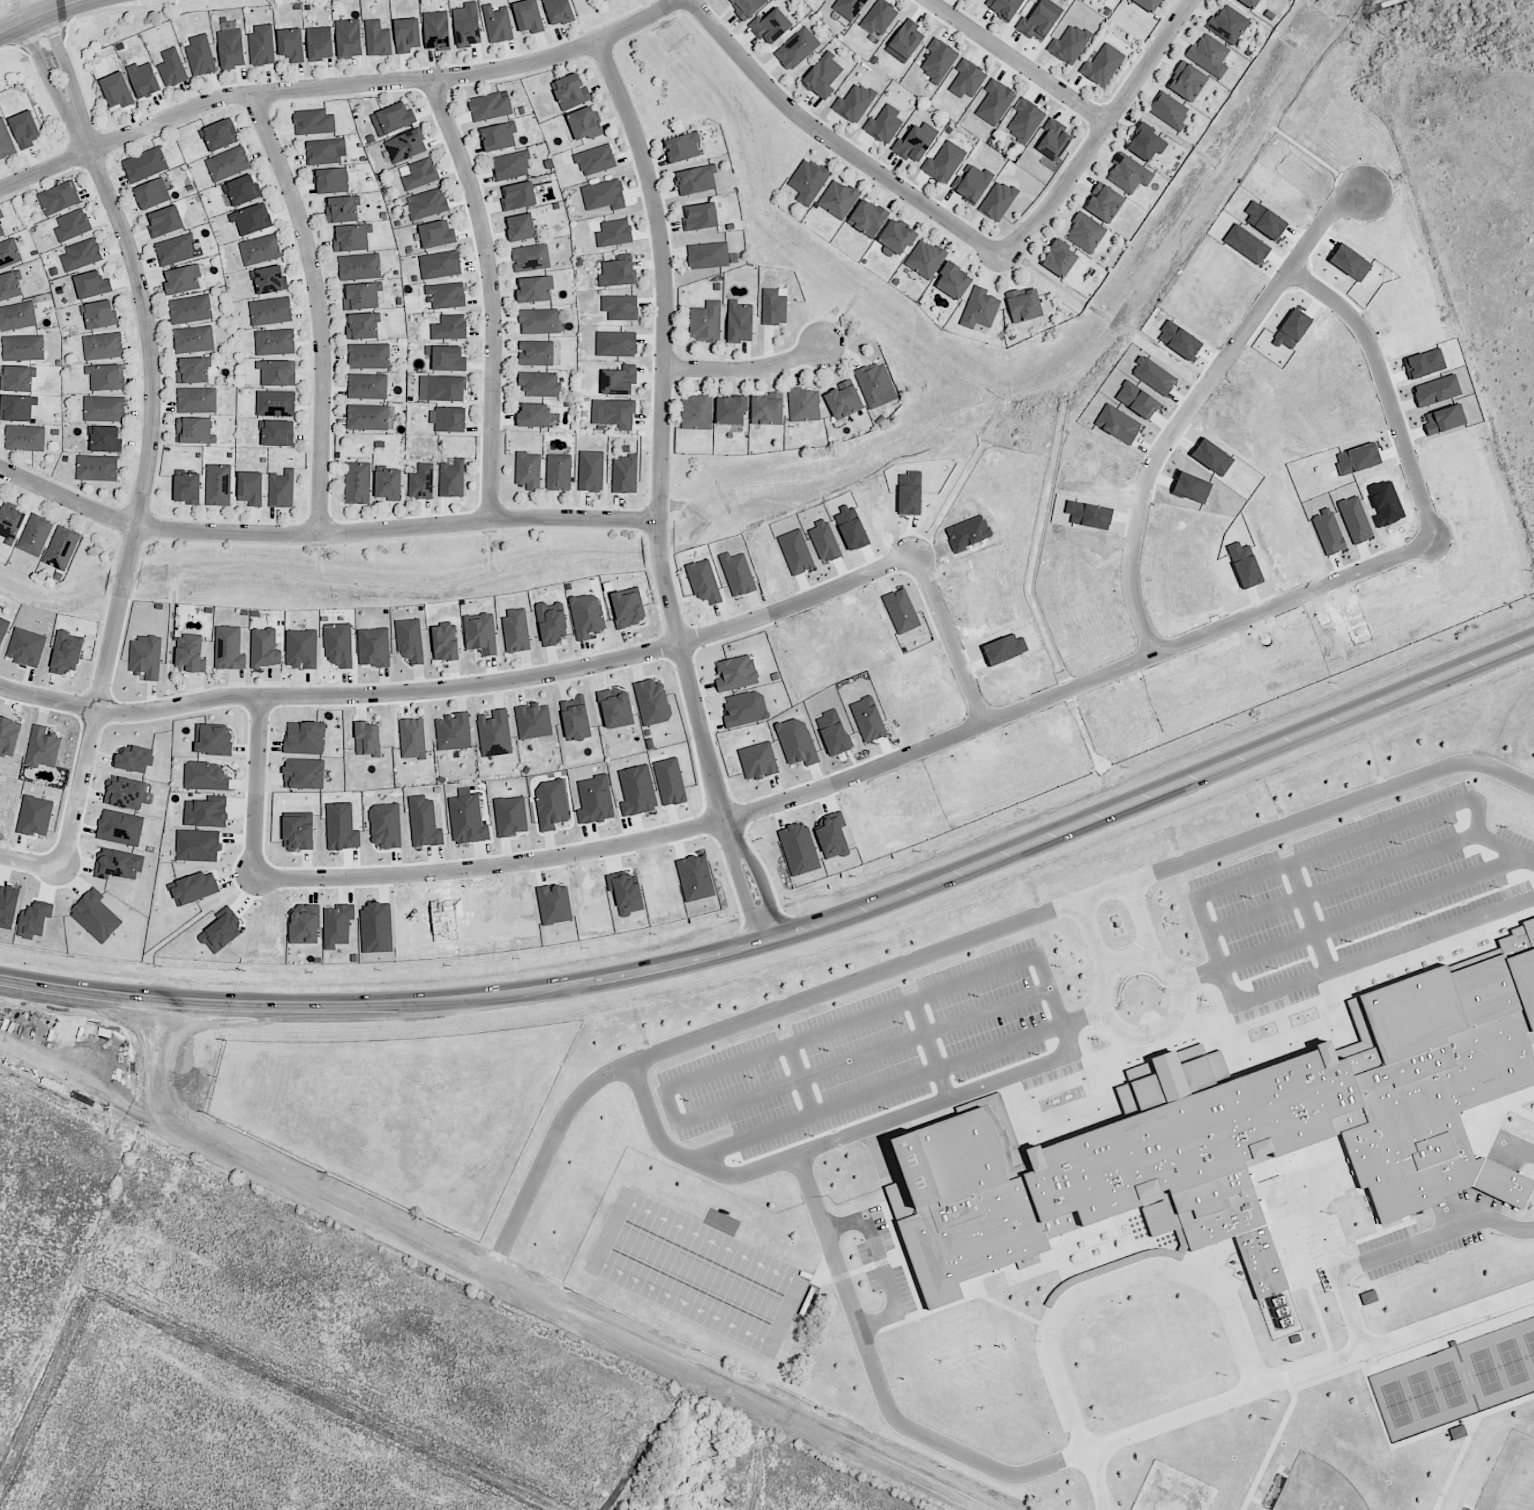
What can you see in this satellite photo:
building: (1250, 3)
building: (1150, 5)
road: (40, 7)
building: (749, 7)
building: (1005, 7)
road: (143, 8)
building: (849, 8)
road: (19, 11)
building: (560, 11)
road: (40, 15)
building: (530, 15)
building: (880, 17)
building: (1038, 23)
building: (498, 25)
building: (772, 26)
building: (1230, 26)
building: (437, 31)
building: (469, 32)
building: (408, 36)
building: (908, 39)
building: (350, 40)
building: (379, 40)
building: (321, 43)
road: (30, 44)
building: (1070, 44)
building: (263, 46)
building: (294, 46)
building: (798, 49)
building: (233, 50)
building: (202, 56)
building: (1211, 56)
building: (939, 61)
road: (1017, 62)
building: (1103, 66)
building: (173, 67)
road: (69, 72)
building: (823, 76)
building: (144, 79)
building: (968, 79)
road: (50, 81)
building: (1190, 82)
road: (337, 88)
building: (117, 90)
building: (572, 92)
building: (995, 103)
building: (855, 104)
building: (491, 106)
building: (1170, 111)
building: (399, 117)
building: (1026, 121)
building: (316, 122)
building: (586, 124)
building: (885, 125)
building: (26, 130)
road: (1103, 132)
building: (222, 134)
building: (500, 138)
building: (1056, 140)
road: (833, 141)
building: (6, 142)
building: (1147, 142)
building: (914, 144)
building: (409, 148)
building: (686, 149)
building: (326, 152)
building: (597, 160)
building: (945, 162)
building: (230, 164)
building: (146, 165)
building: (510, 166)
building: (1130, 174)
building: (423, 175)
building: (335, 181)
building: (695, 181)
building: (809, 182)
building: (974, 184)
building: (245, 191)
building: (156, 196)
building: (519, 196)
building: (604, 196)
building: (62, 200)
building: (840, 200)
building: (999, 201)
building: (430, 205)
building: (1109, 206)
building: (345, 210)
building: (1, 216)
building: (702, 217)
building: (870, 218)
building: (255, 220)
building: (166, 222)
building: (72, 226)
building: (523, 229)
building: (3, 230)
building: (614, 234)
building: (1088, 234)
building: (439, 236)
building: (901, 238)
building: (355, 239)
building: (175, 250)
building: (261, 250)
building: (10, 253)
building: (83, 256)
building: (709, 256)
building: (532, 258)
building: (927, 259)
building: (1063, 259)
building: (443, 266)
building: (361, 268)
building: (619, 274)
building: (185, 281)
building: (274, 281)
building: (956, 284)
building: (95, 286)
building: (12, 288)
building: (537, 291)
road: (493, 296)
building: (448, 297)
building: (365, 298)
building: (1027, 306)
building: (620, 308)
building: (774, 308)
building: (981, 309)
road: (318, 310)
building: (193, 311)
building: (272, 312)
building: (103, 316)
building: (18, 317)
building: (541, 322)
building: (708, 322)
building: (741, 324)
building: (368, 327)
building: (451, 328)
building: (195, 340)
building: (276, 343)
building: (616, 345)
building: (104, 347)
building: (25, 348)
building: (539, 354)
building: (371, 357)
building: (451, 360)
road: (748, 368)
building: (196, 372)
building: (280, 375)
building: (18, 379)
building: (109, 380)
building: (620, 381)
building: (877, 384)
building: (541, 385)
building: (370, 387)
road: (1384, 389)
building: (449, 390)
building: (199, 401)
building: (847, 401)
road: (1188, 401)
building: (278, 404)
building: (805, 407)
building: (18, 409)
building: (105, 409)
building: (734, 410)
building: (769, 410)
building: (698, 412)
building: (615, 414)
building: (537, 417)
building: (370, 419)
building: (453, 421)
building: (196, 432)
building: (280, 435)
building: (26, 439)
building: (108, 440)
road: (664, 447)
building: (99, 469)
building: (530, 472)
building: (592, 472)
building: (559, 473)
building: (625, 475)
building: (454, 480)
building: (422, 483)
building: (359, 485)
building: (390, 485)
building: (220, 486)
building: (282, 489)
building: (189, 490)
building: (254, 490)
road: (142, 498)
building: (0, 500)
building: (11, 524)
road: (324, 535)
building: (37, 536)
building: (64, 550)
building: (737, 574)
building: (703, 582)
building: (628, 608)
building: (586, 616)
building: (550, 624)
building: (3, 628)
building: (515, 630)
building: (480, 633)
road: (945, 637)
building: (409, 640)
building: (444, 642)
building: (338, 646)
building: (25, 647)
building: (264, 648)
building: (373, 648)
building: (228, 649)
building: (301, 649)
building: (190, 653)
building: (66, 654)
building: (145, 657)
building: (736, 673)
building: (774, 677)
road: (463, 684)
building: (652, 702)
building: (615, 709)
building: (744, 710)
building: (574, 719)
building: (532, 721)
building: (452, 732)
building: (494, 734)
building: (8, 736)
building: (304, 738)
building: (212, 739)
building: (366, 739)
building: (411, 739)
building: (795, 742)
building: (42, 748)
building: (133, 760)
building: (757, 761)
building: (303, 774)
road: (861, 776)
building: (205, 777)
building: (669, 782)
road: (256, 787)
building: (636, 791)
building: (124, 793)
building: (594, 800)
building: (550, 804)
building: (206, 812)
building: (34, 816)
building: (510, 816)
building: (467, 820)
building: (424, 823)
building: (385, 826)
building: (340, 827)
building: (120, 828)
building: (297, 831)
road: (1287, 832)
building: (196, 845)
road: (31, 859)
building: (118, 864)
building: (194, 888)
road: (1347, 888)
road: (765, 890)
building: (626, 893)
road: (896, 897)
road: (743, 899)
building: (553, 904)
building: (95, 916)
road: (1374, 919)
road: (1207, 922)
road: (1142, 923)
building: (304, 926)
building: (337, 926)
road: (1099, 940)
road: (1136, 968)
road: (111, 995)
road: (867, 1010)
road: (136, 1021)
road: (185, 1024)
road: (711, 1033)
road: (845, 1136)
building: (1236, 1146)
road: (1435, 1240)
road: (1115, 1280)
building: (1368, 1298)
road: (548, 1301)
road: (1353, 1315)
road: (1285, 1386)
road: (883, 1388)
road: (449, 1391)
building: (1456, 1430)
park: (1512, 1476)
park: (1319, 1488)

